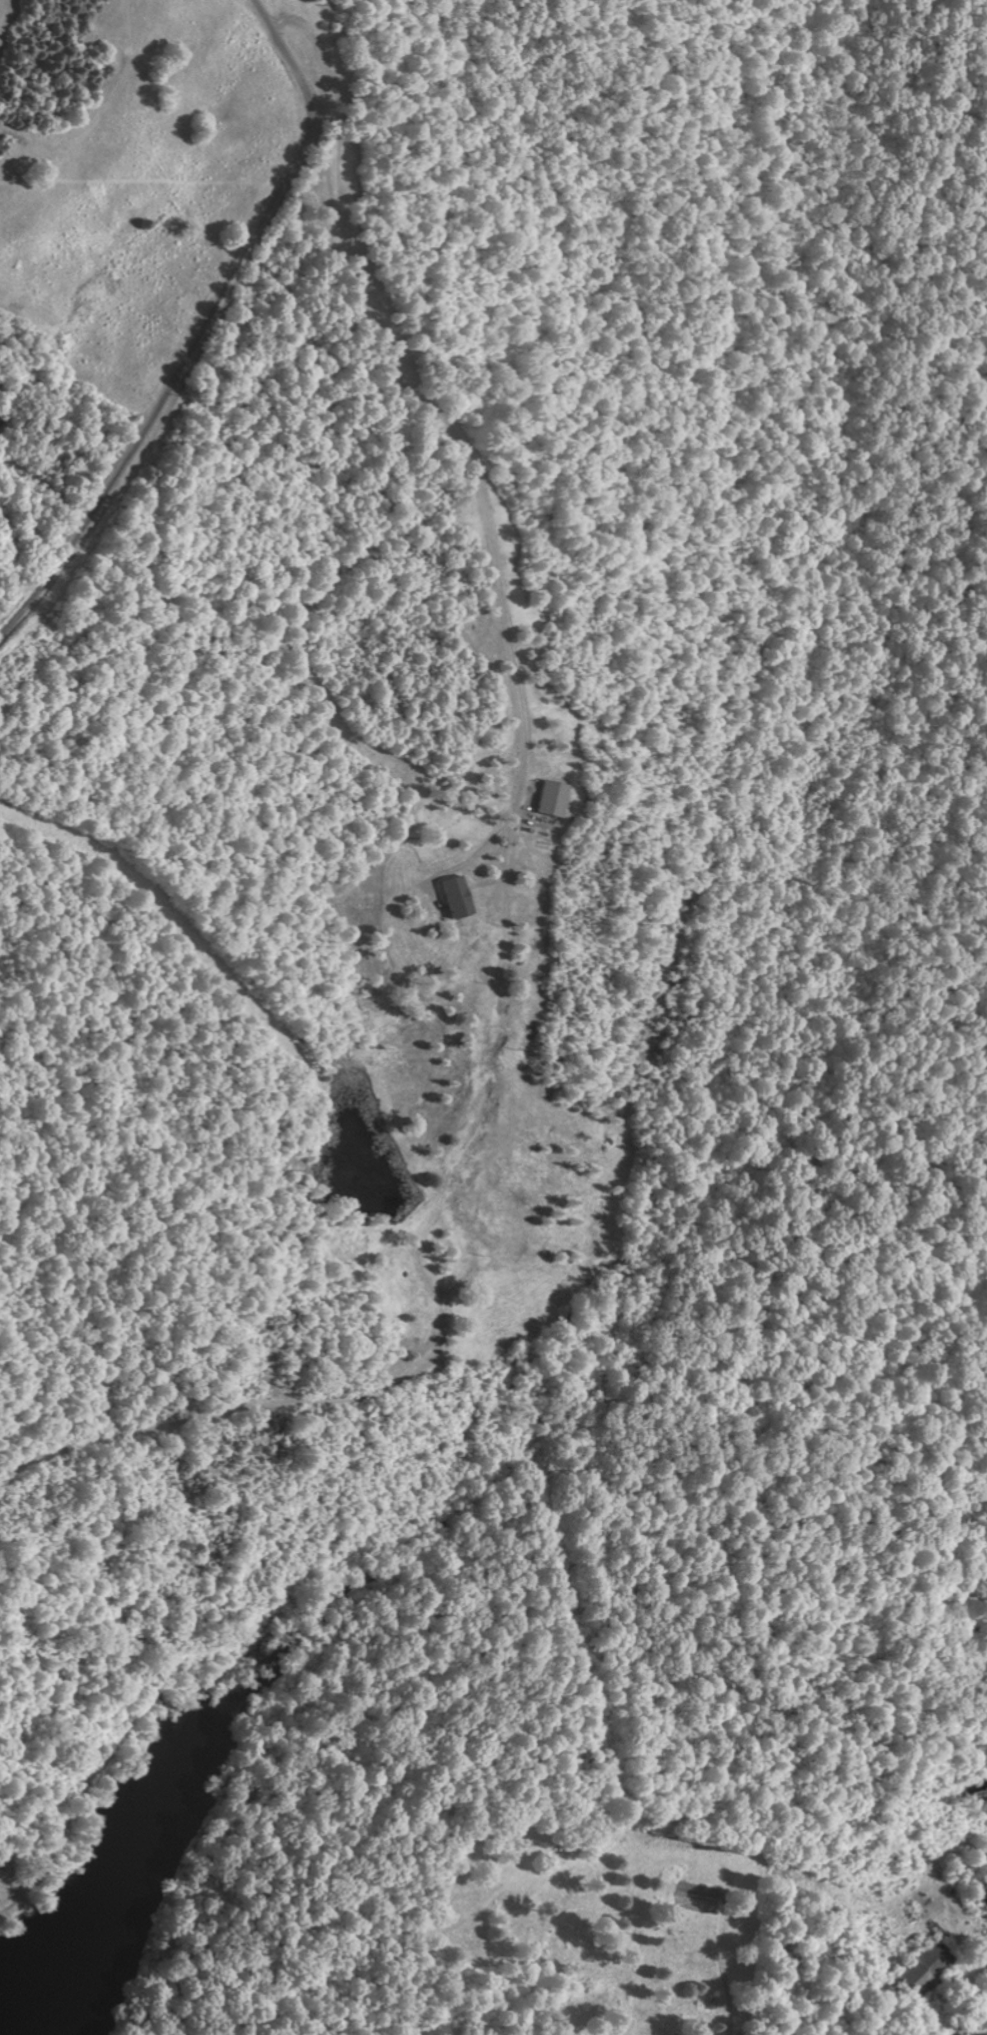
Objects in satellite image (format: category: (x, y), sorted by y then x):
road: (204, 328)
building: (547, 798)
building: (451, 895)

